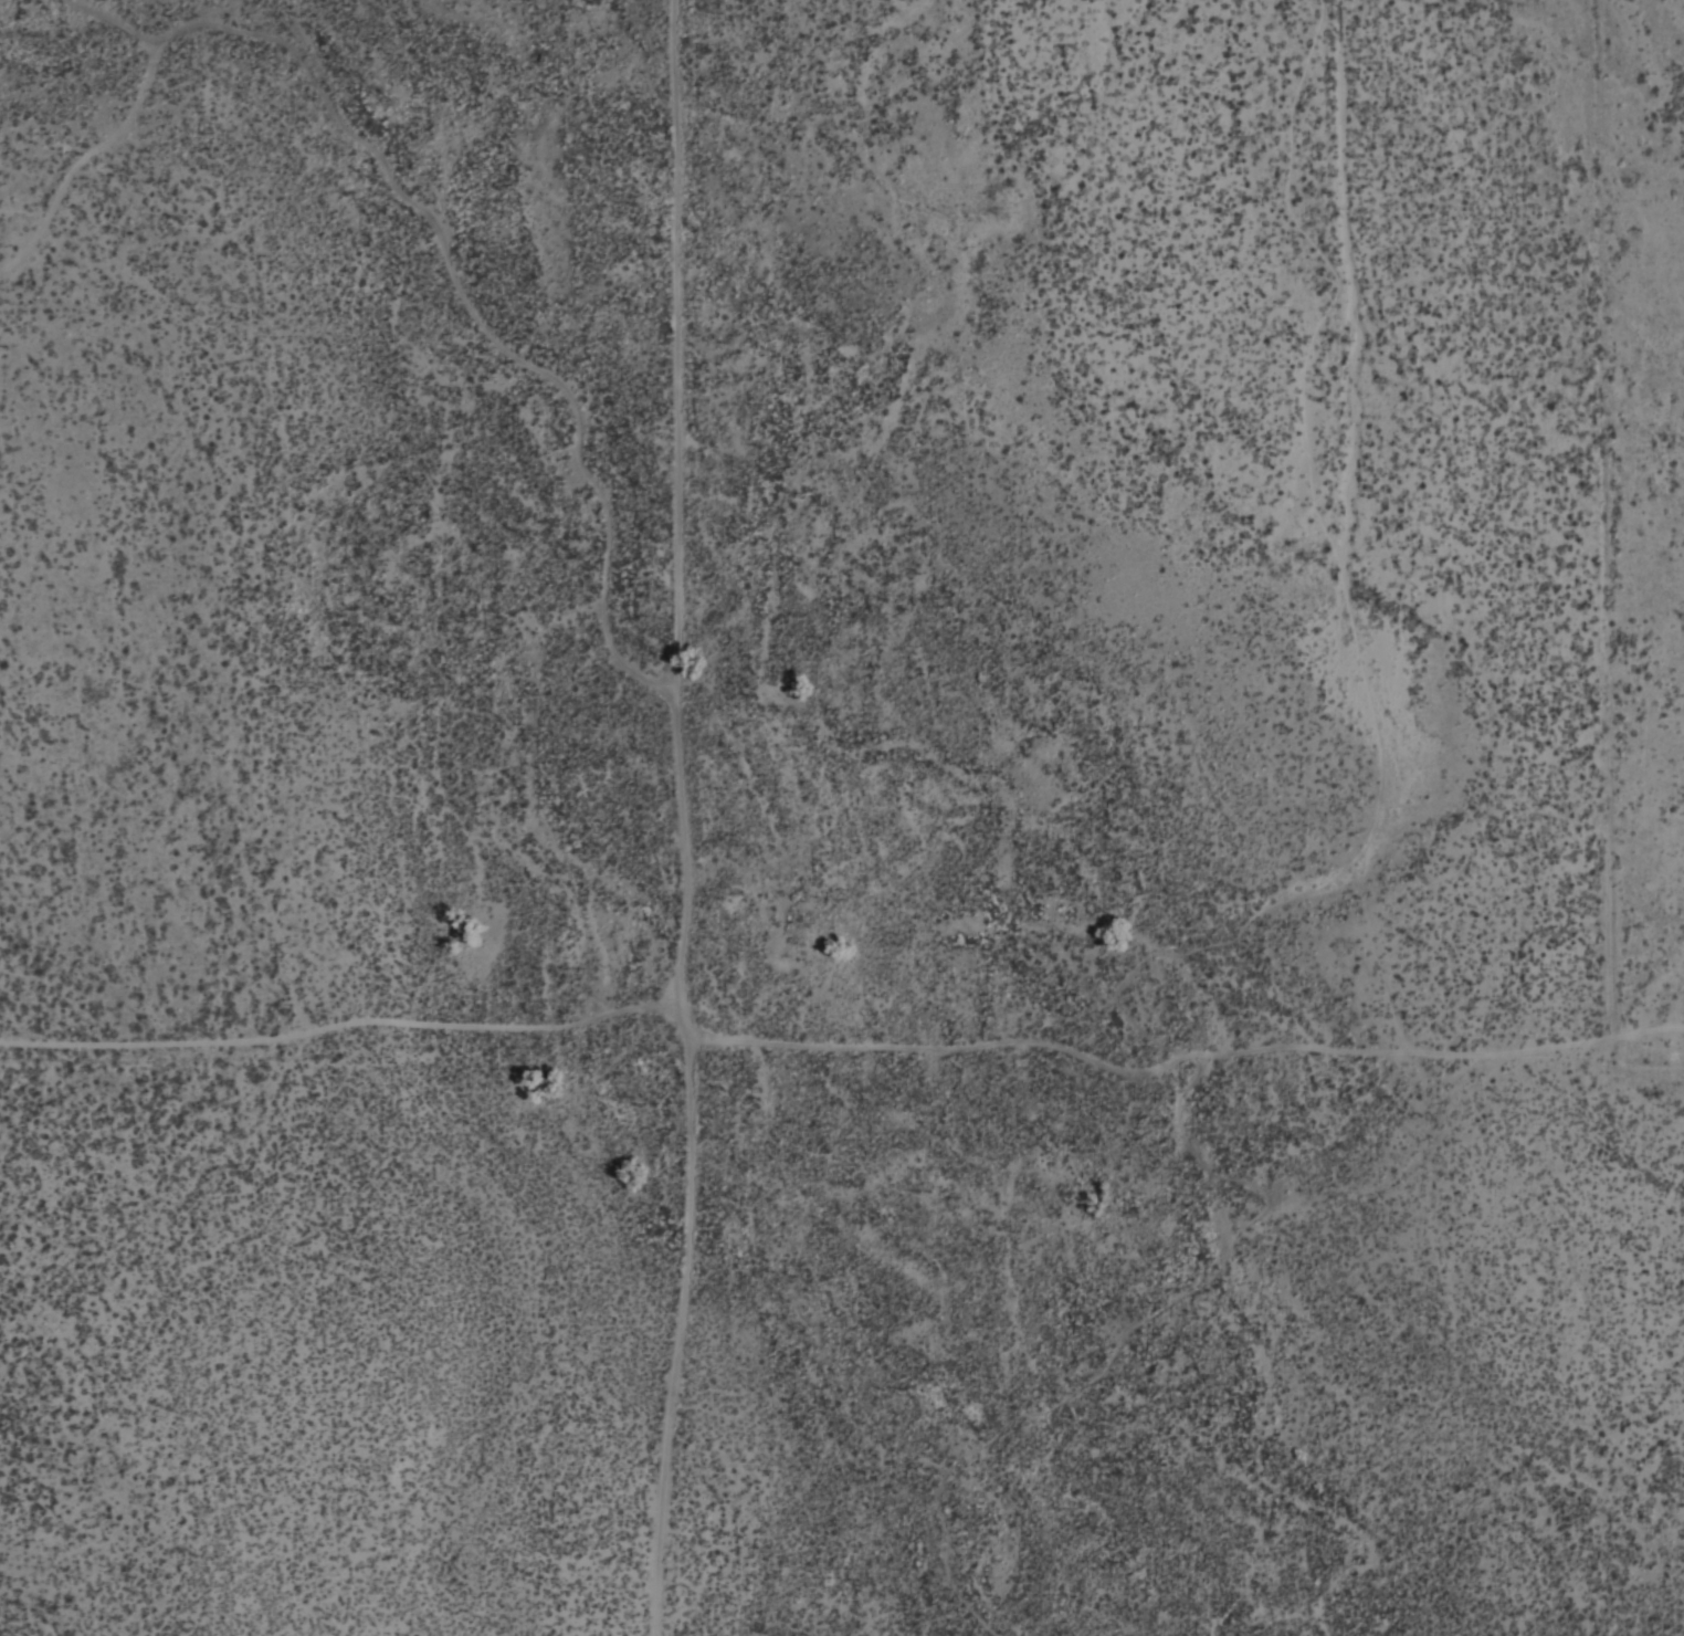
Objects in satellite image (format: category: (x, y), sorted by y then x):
road: (239, 25)
road: (90, 160)
road: (573, 384)
road: (692, 819)
road: (344, 1025)
road: (1590, 1052)
road: (1192, 1055)

